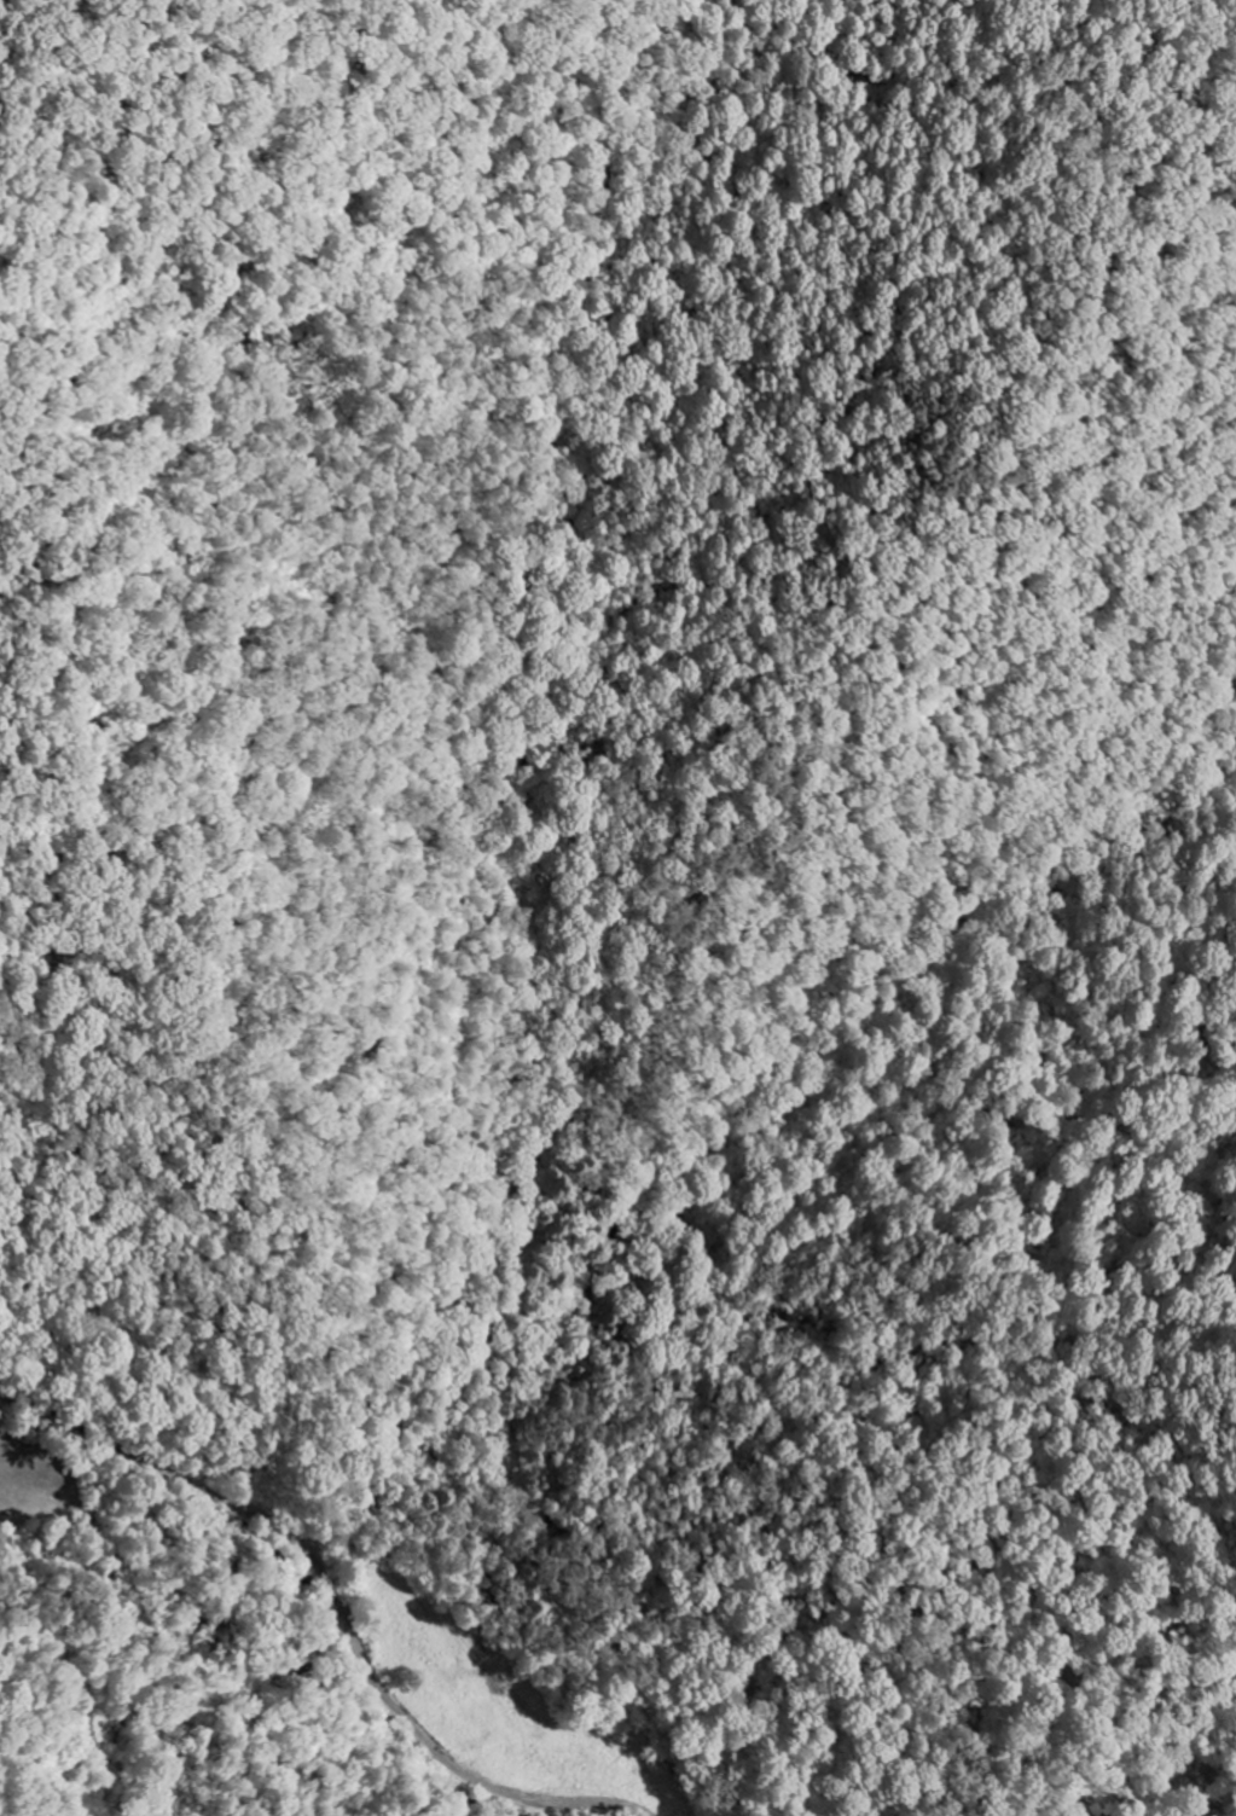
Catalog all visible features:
road: (340, 1585)

